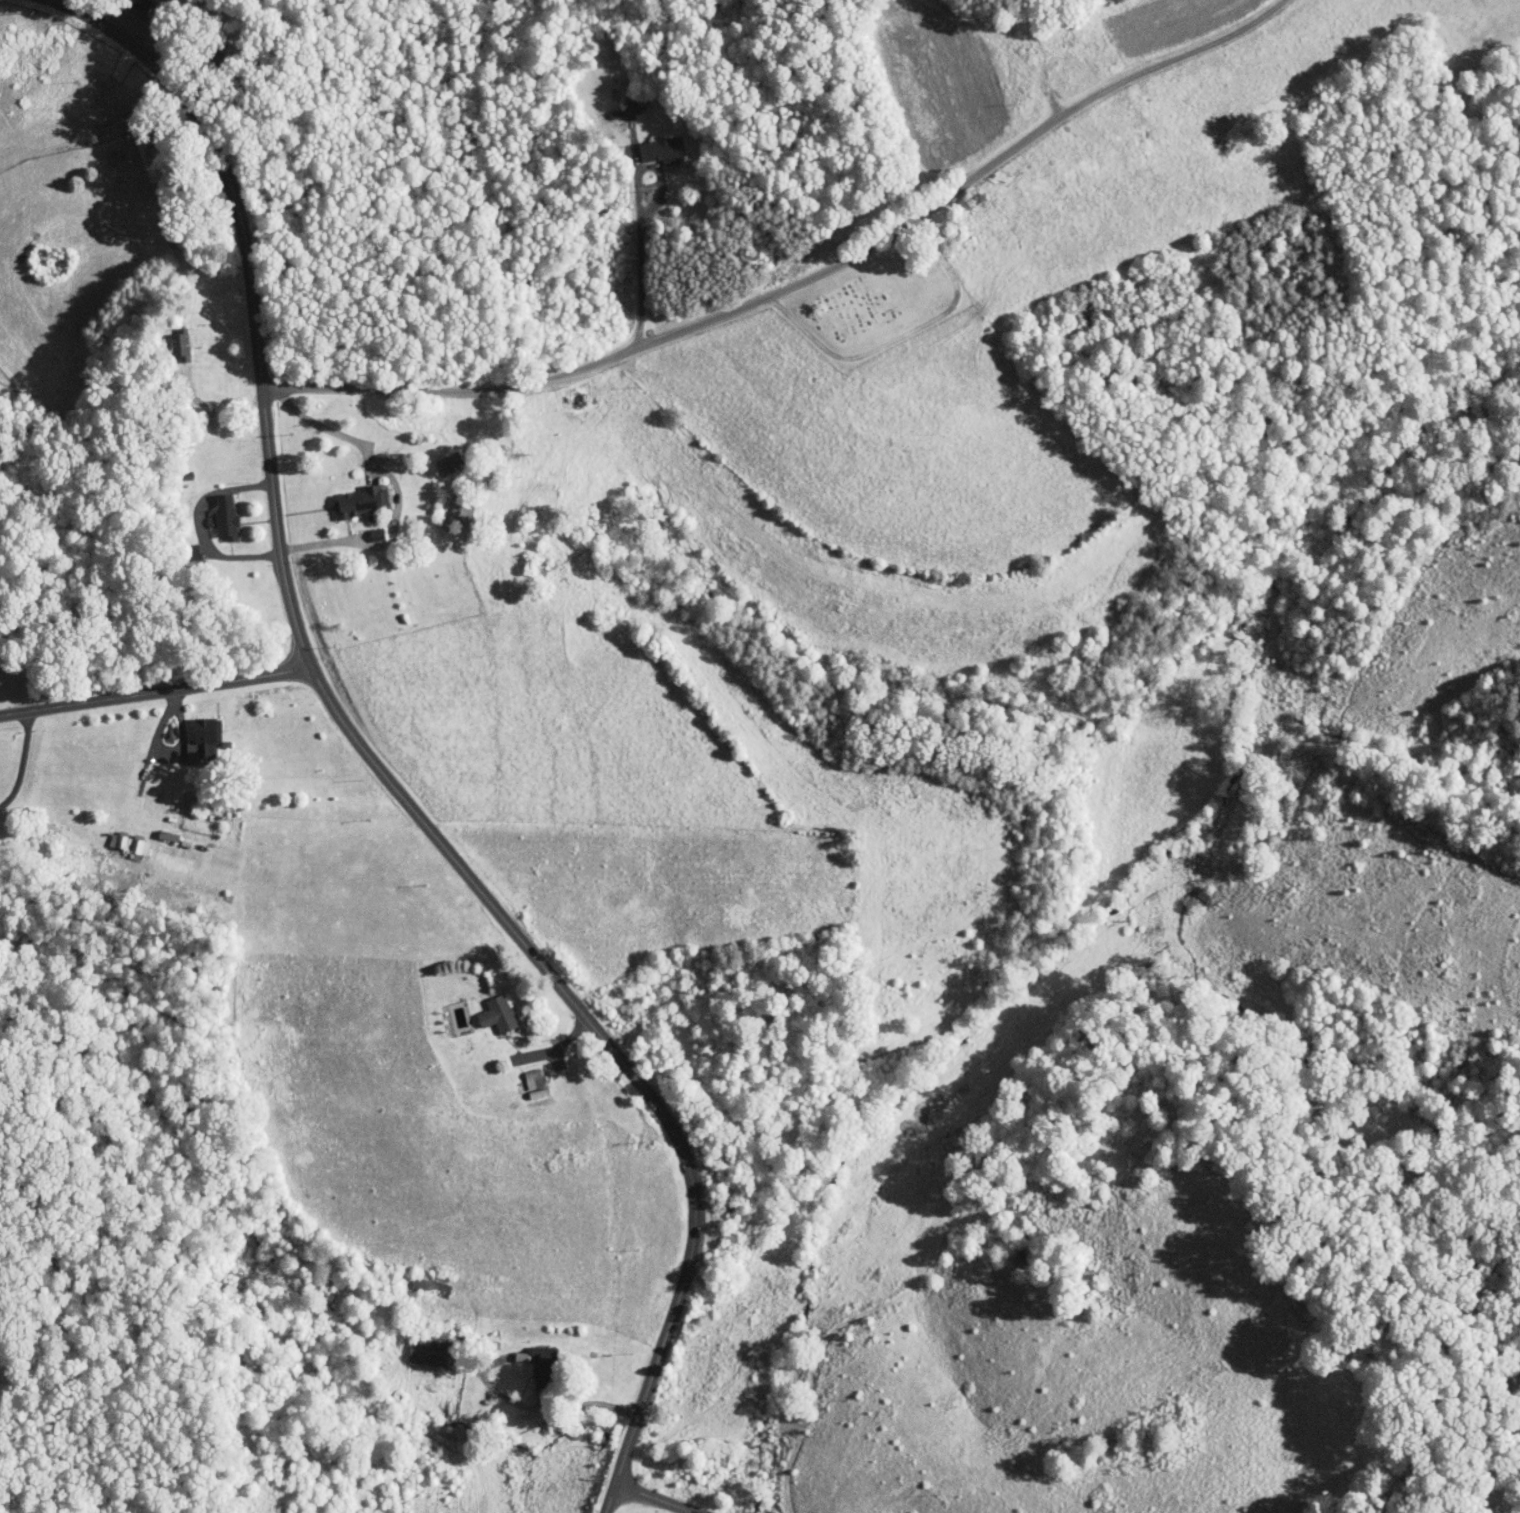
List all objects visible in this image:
building: (125, 1)
road: (153, 24)
building: (645, 144)
road: (640, 223)
road: (803, 282)
building: (165, 338)
building: (561, 385)
road: (397, 490)
building: (346, 494)
building: (210, 511)
building: (178, 546)
road: (156, 692)
building: (195, 736)
road: (26, 756)
road: (377, 765)
building: (118, 836)
building: (482, 1008)
building: (519, 1073)
road: (976, 1191)
building: (413, 1346)
road: (554, 1407)
road: (660, 1497)

